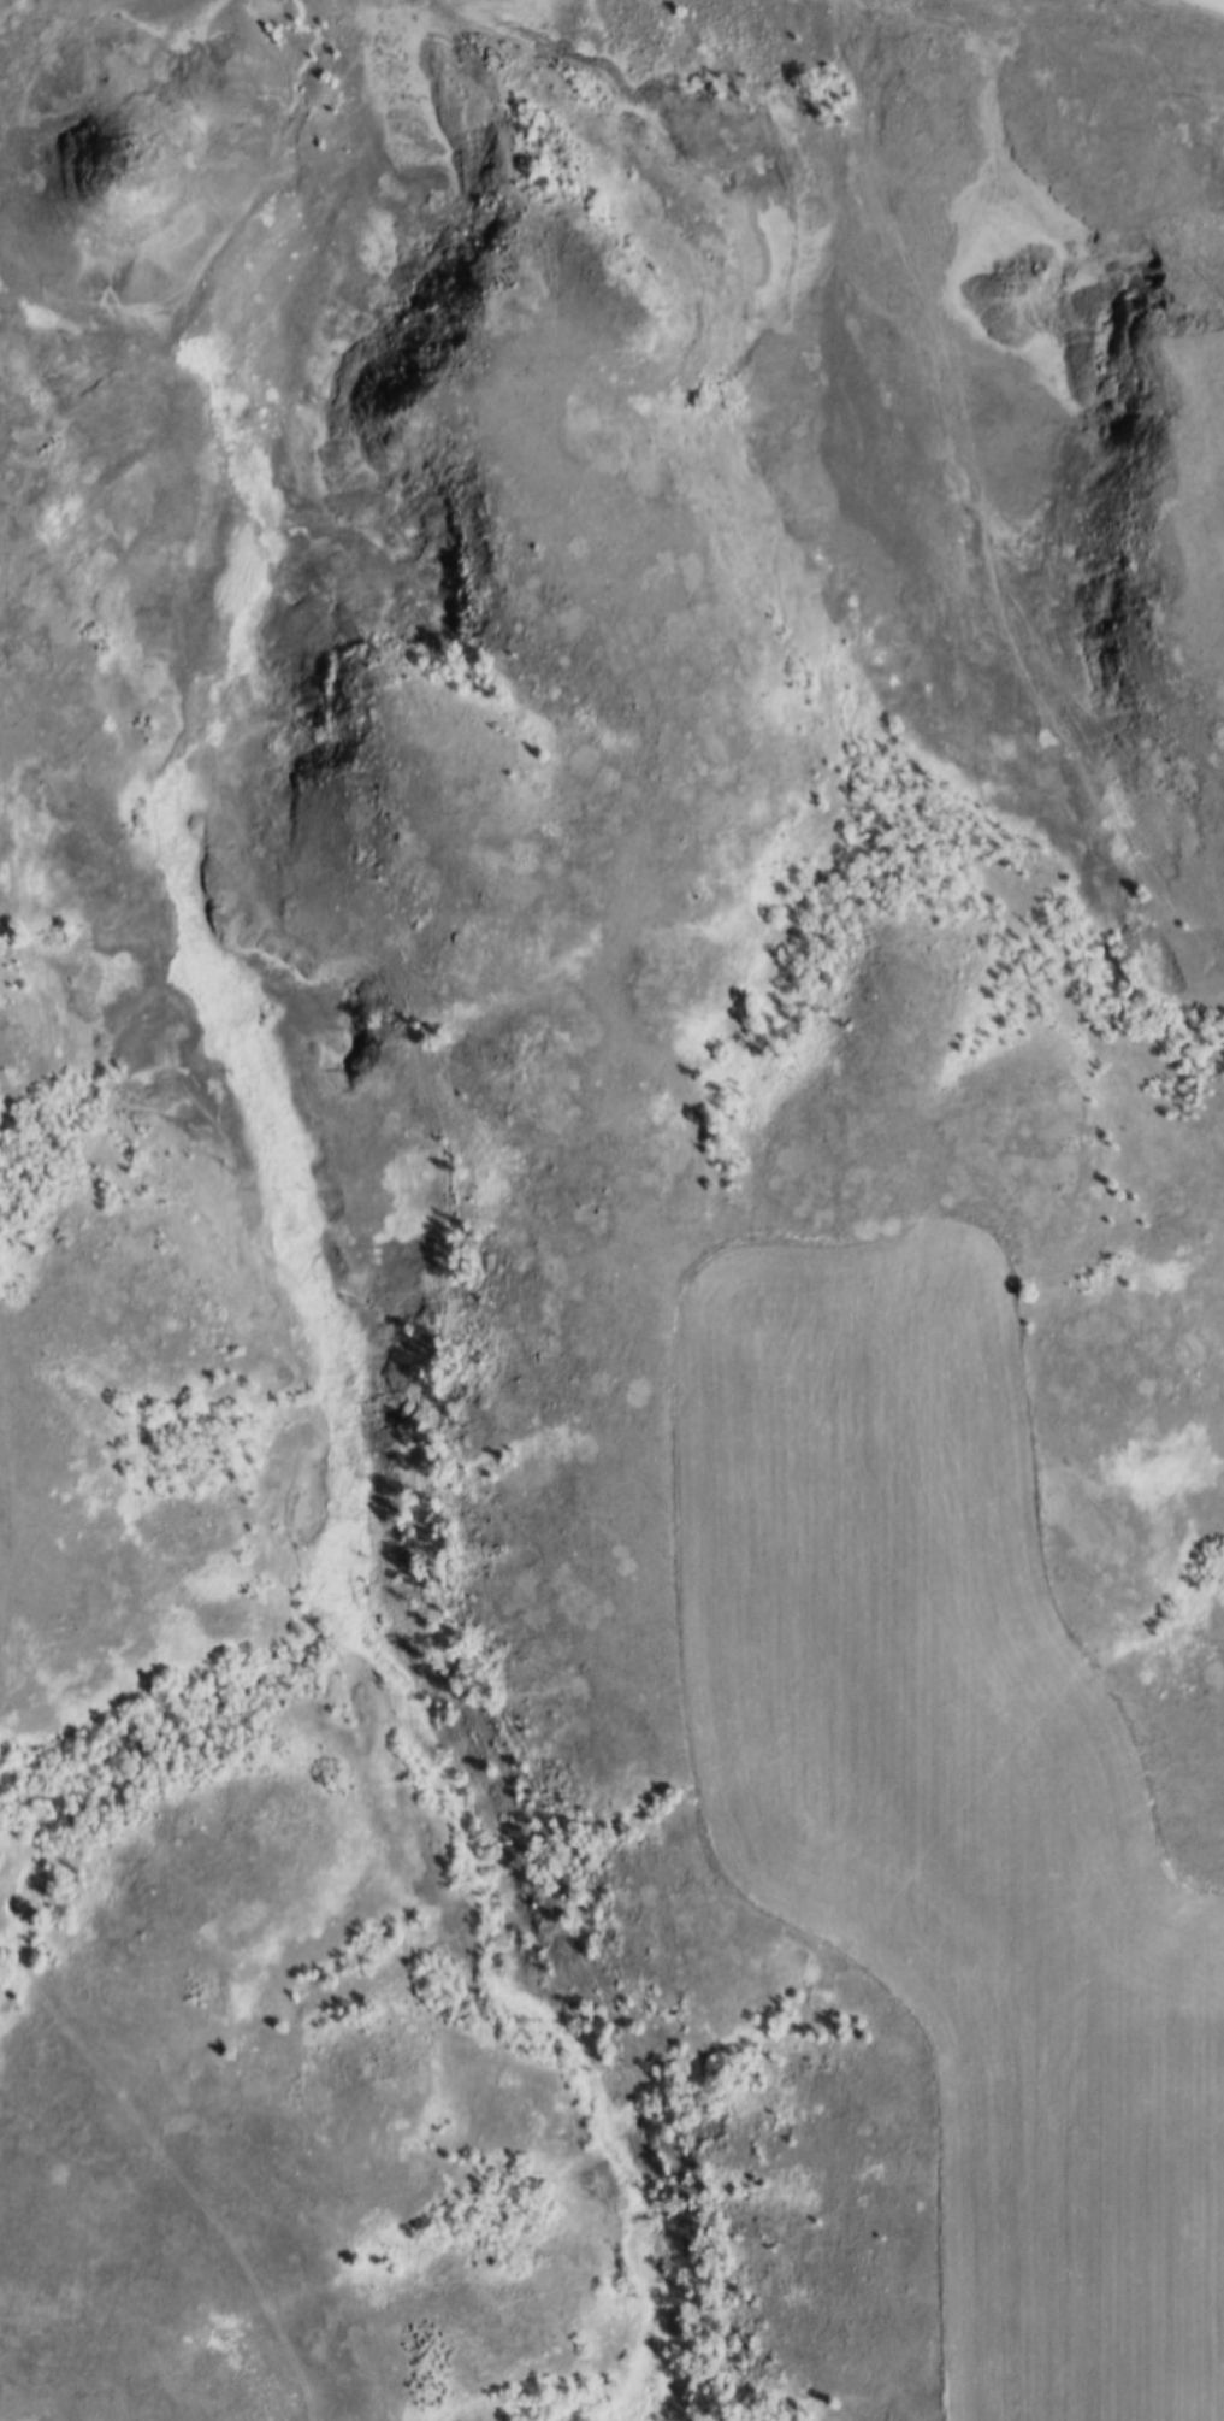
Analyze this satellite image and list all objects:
road: (1204, 5)

